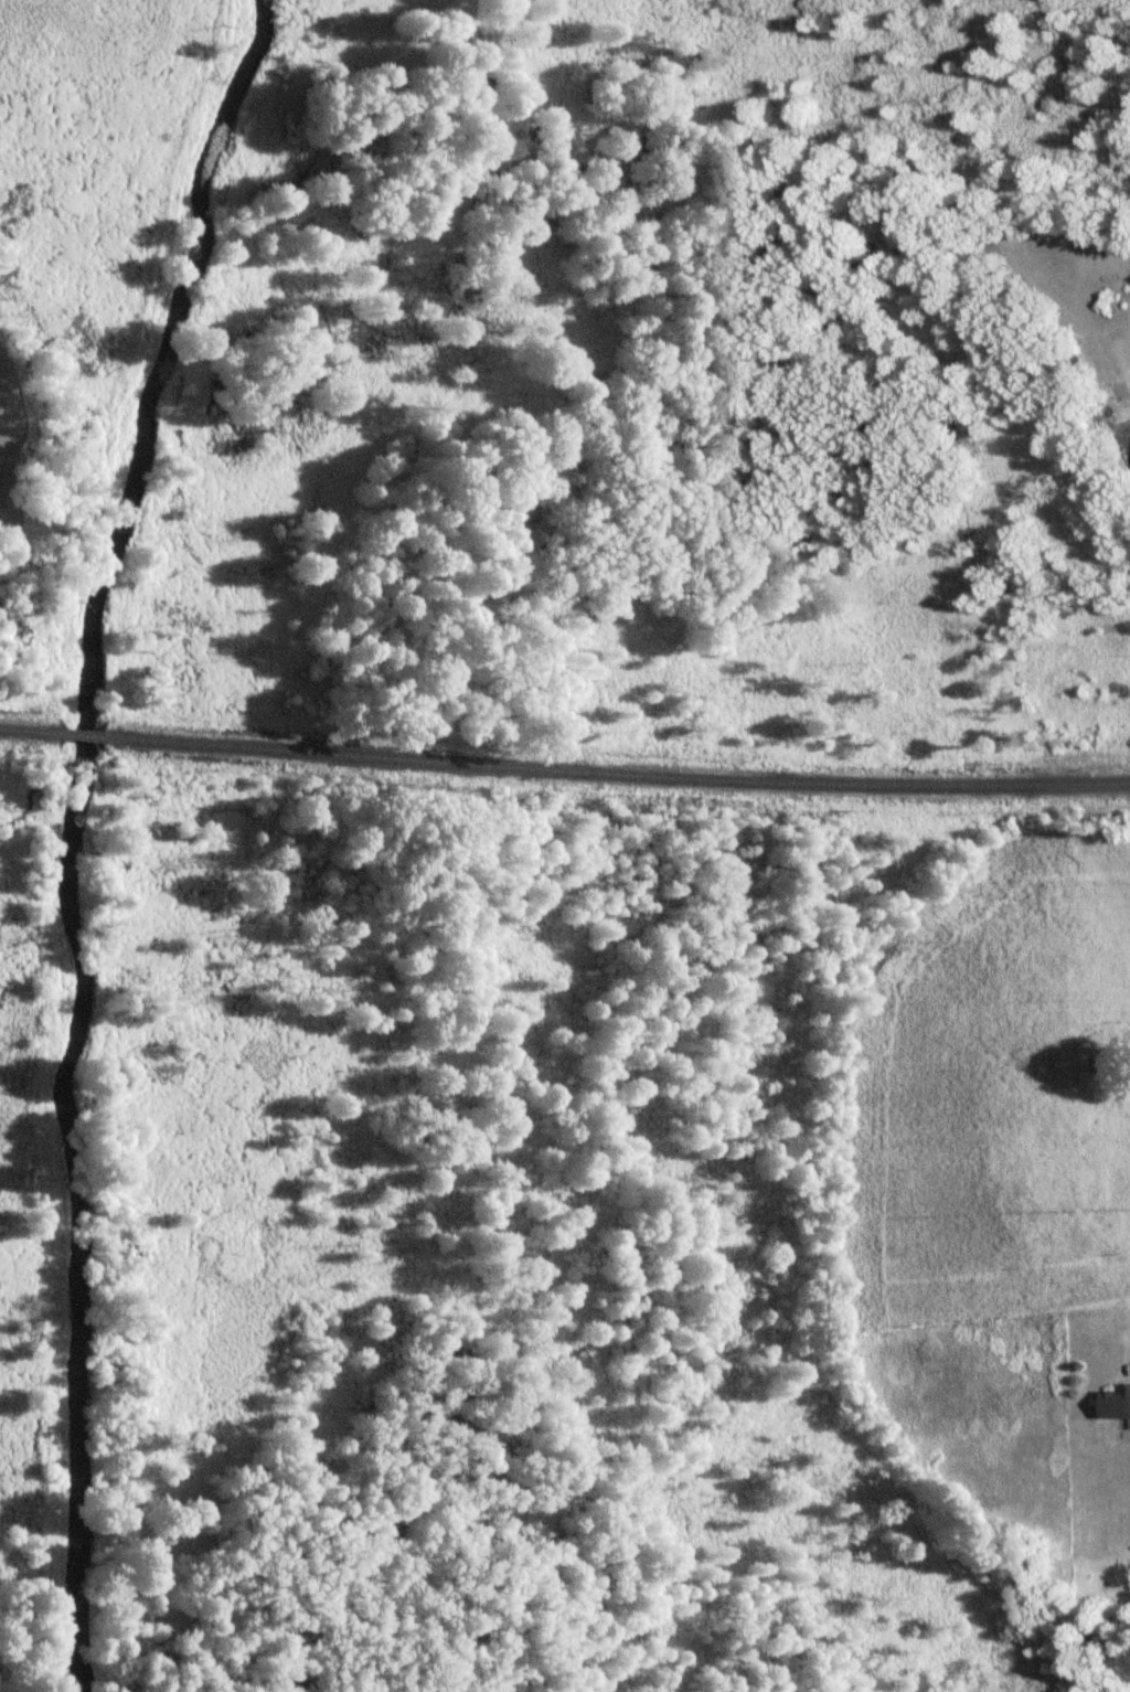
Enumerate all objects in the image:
railway: (29, 731)
railway: (78, 735)
railway: (614, 771)
building: (1118, 1403)

